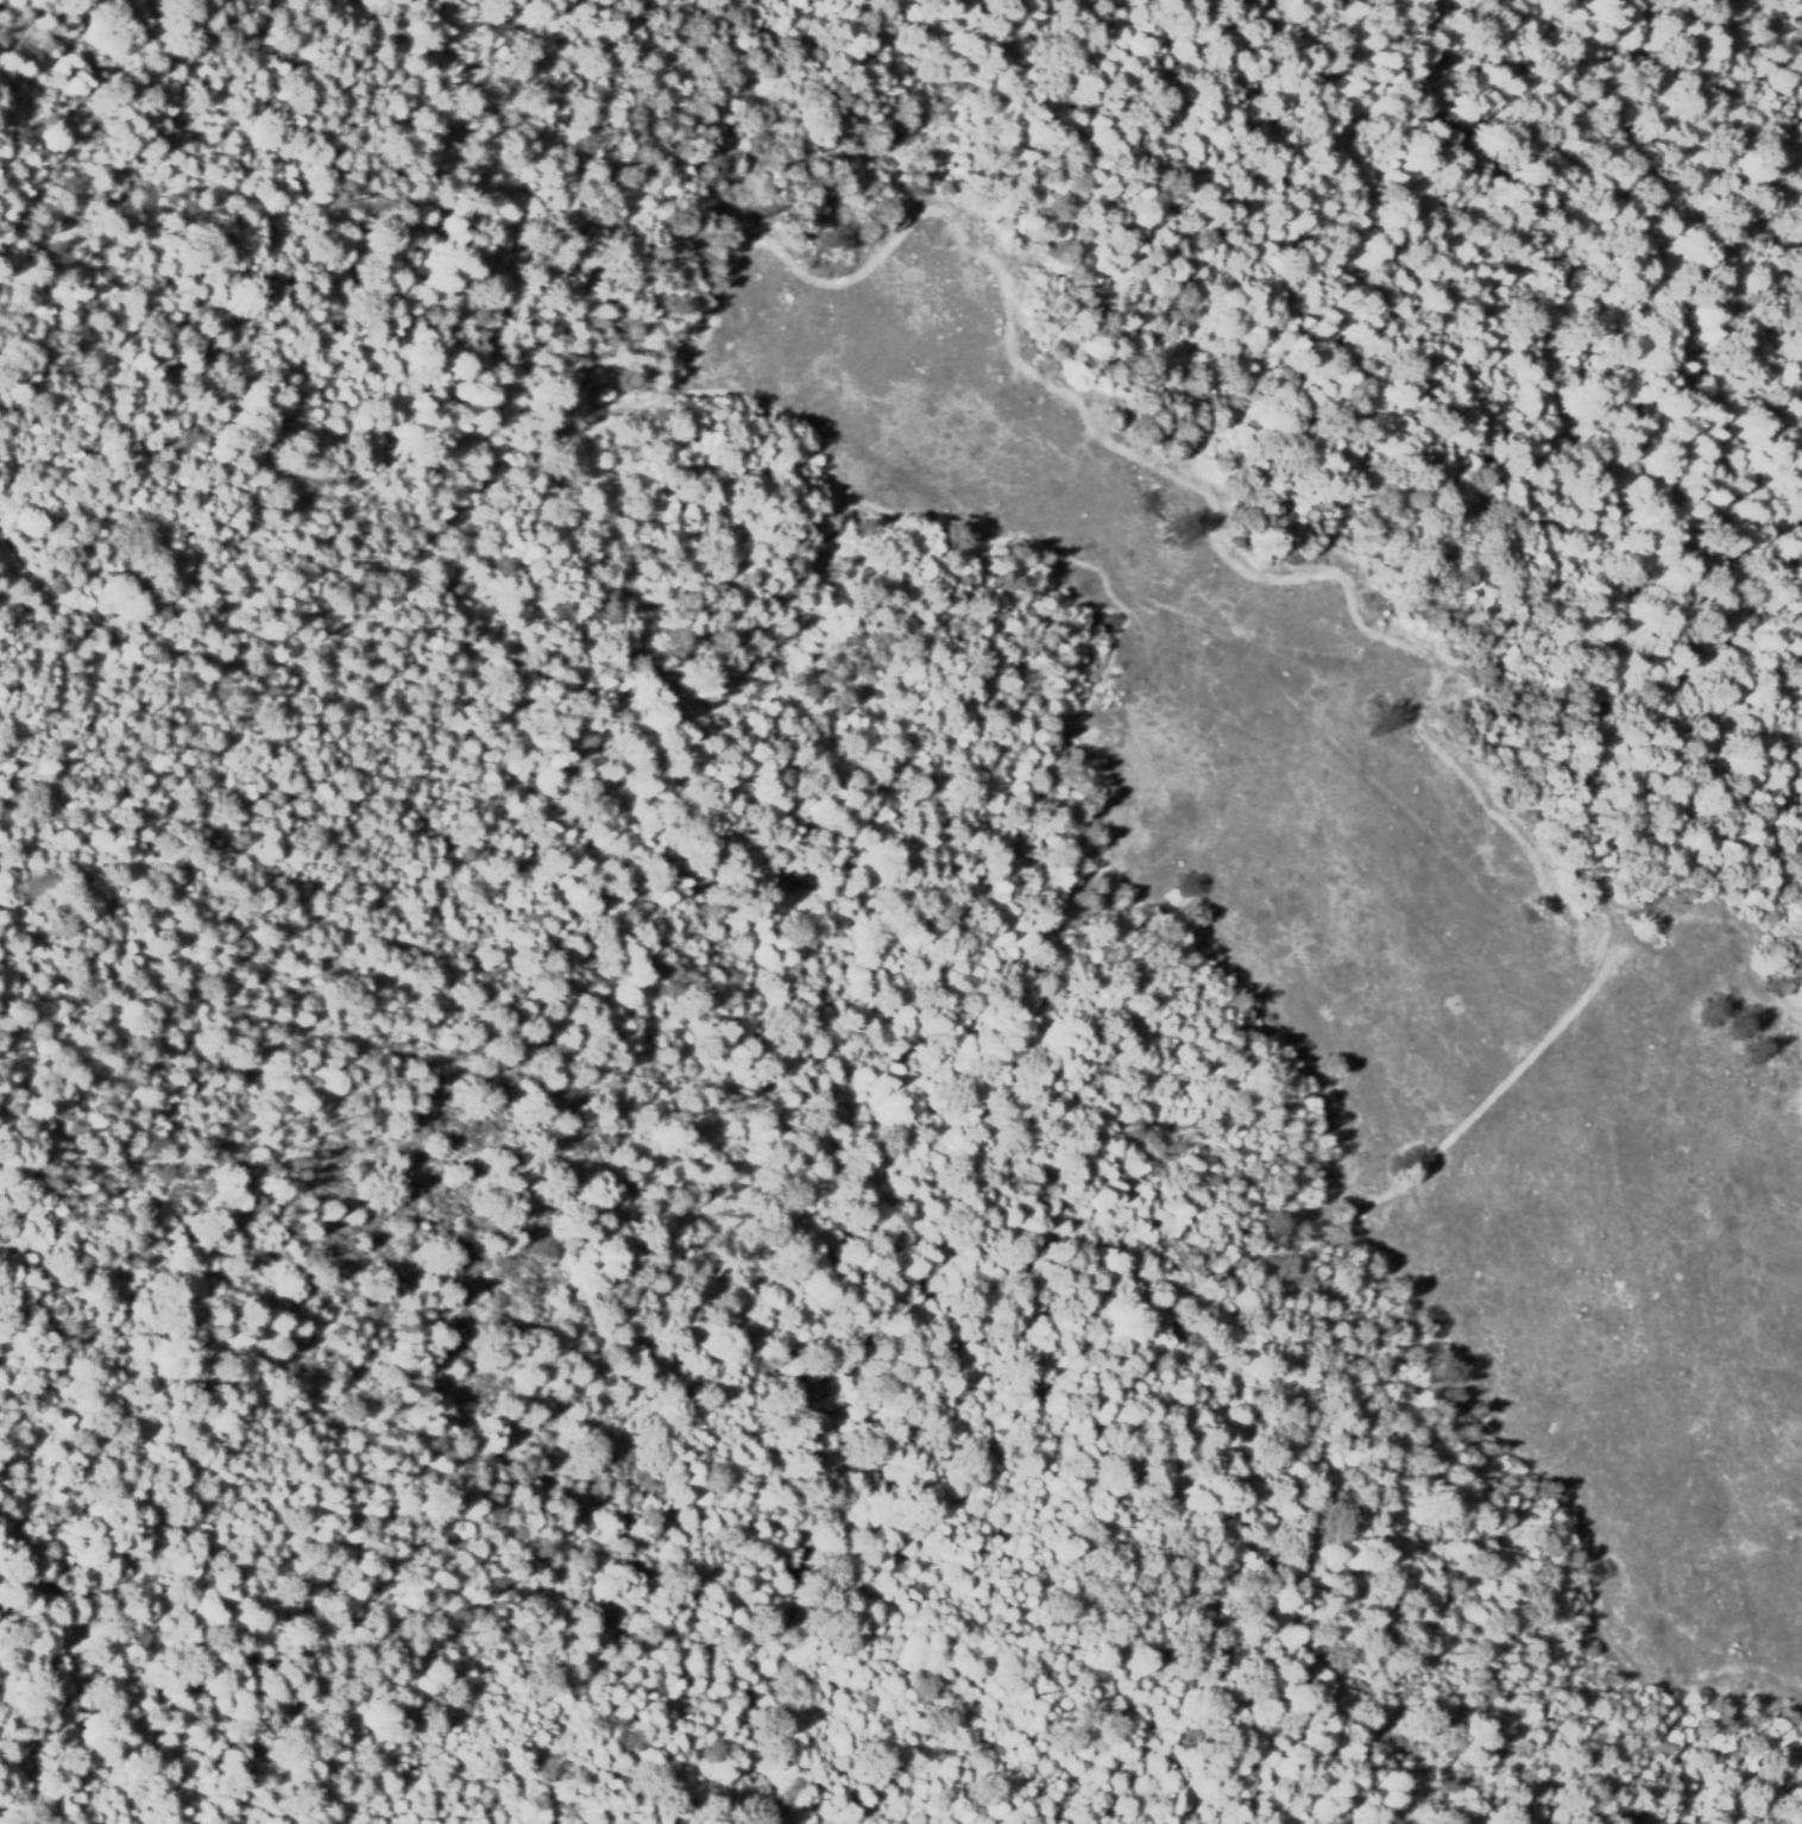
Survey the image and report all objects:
road: (23, 181)
road: (1618, 631)
road: (1042, 704)

